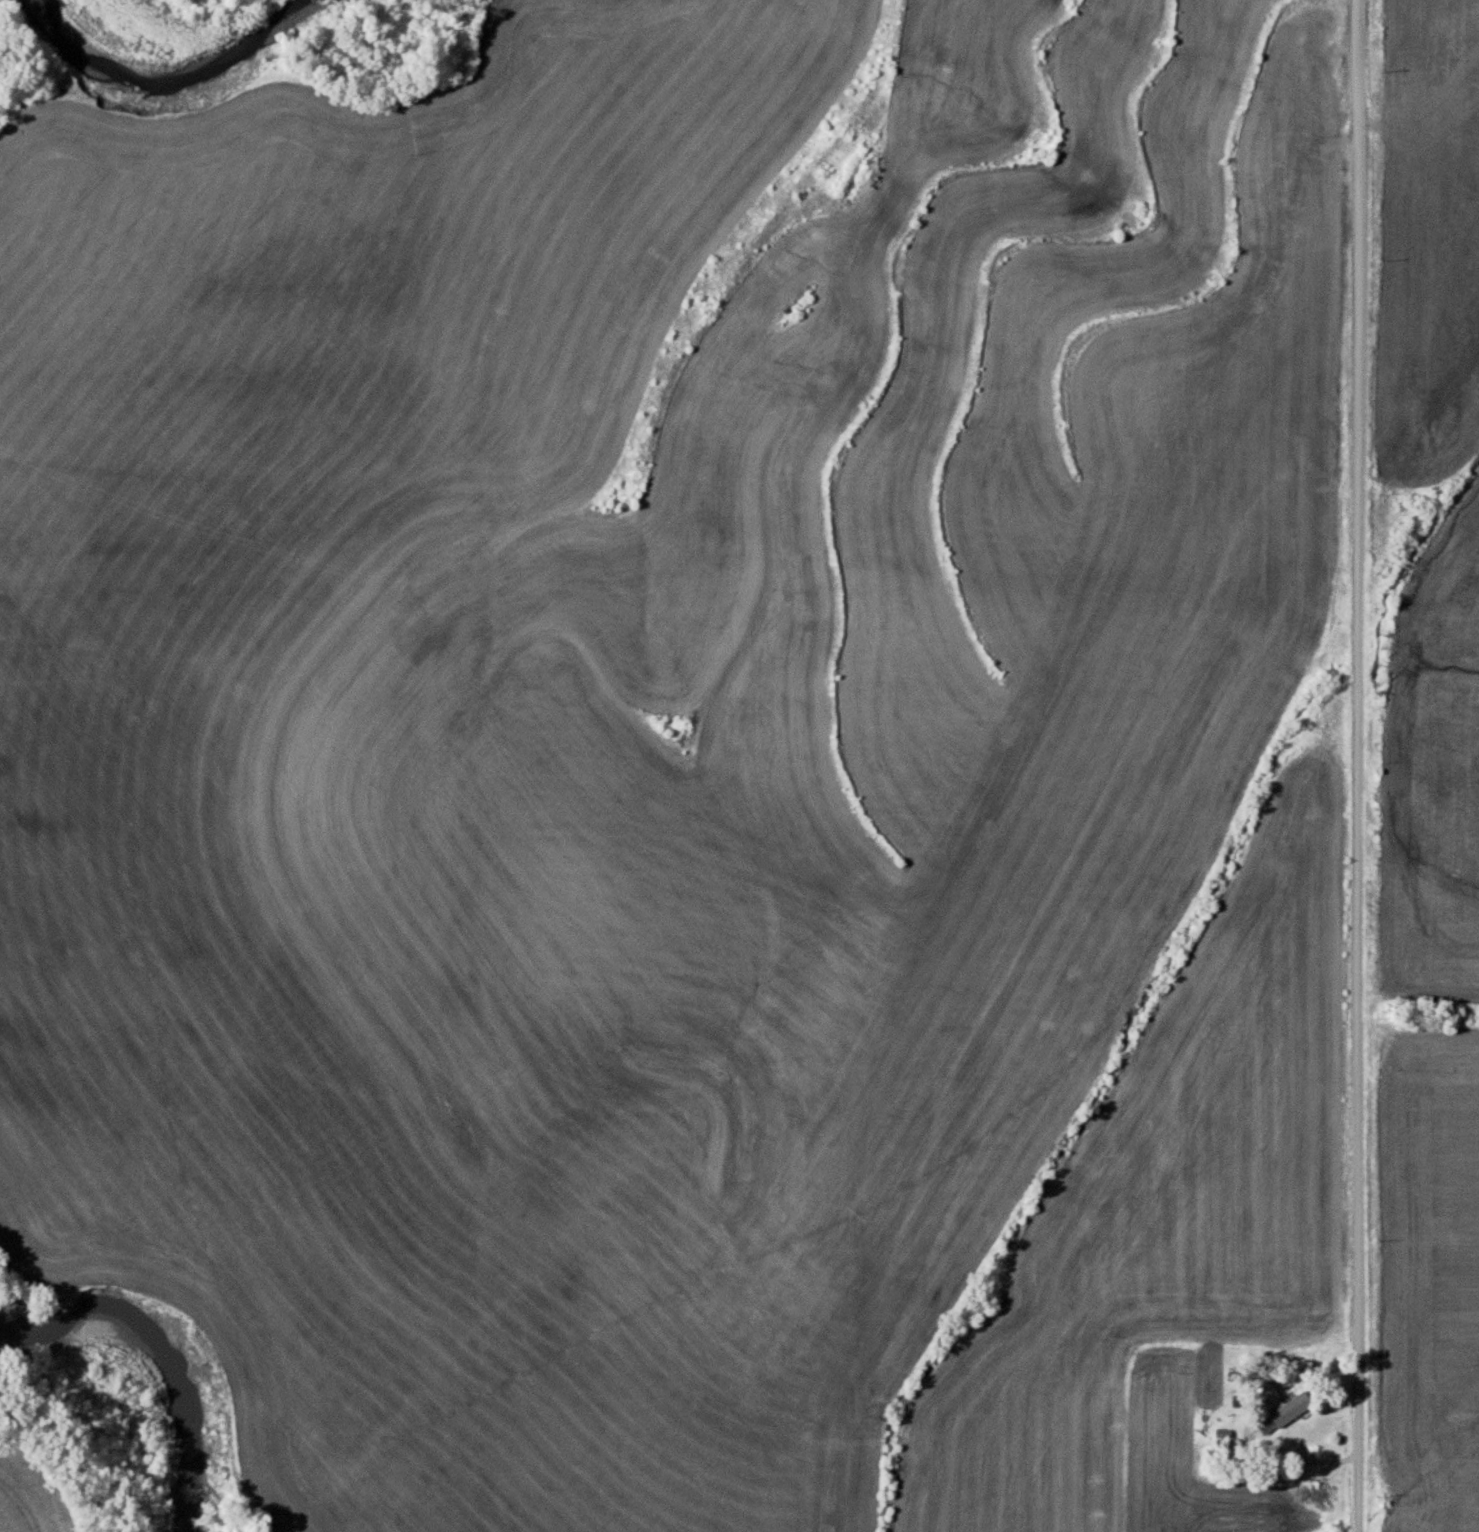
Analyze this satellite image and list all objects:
road: (1342, 766)
building: (1291, 1408)
building: (1263, 1426)

